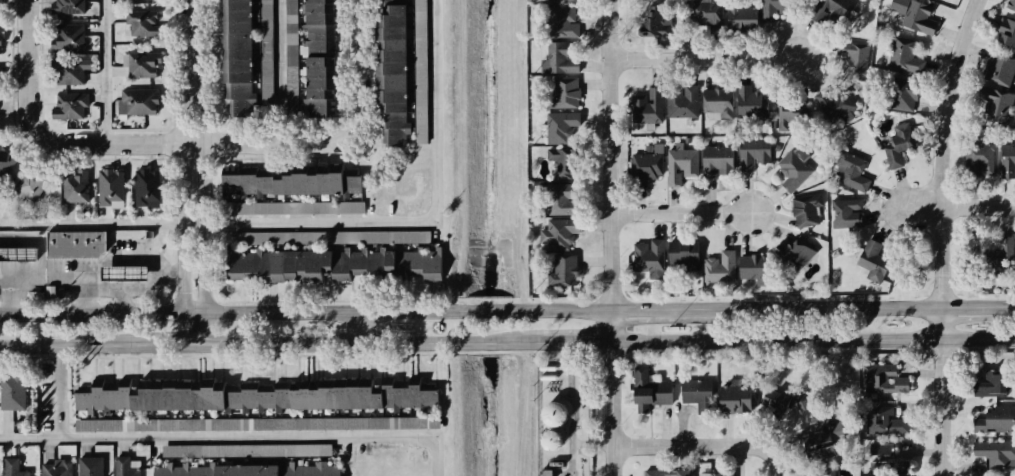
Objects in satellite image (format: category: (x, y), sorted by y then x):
building: (562, 1)
building: (1012, 6)
building: (0, 9)
building: (67, 10)
building: (773, 10)
building: (831, 10)
building: (708, 14)
building: (741, 17)
building: (916, 17)
building: (420, 22)
building: (558, 22)
building: (656, 22)
building: (139, 23)
building: (1002, 31)
building: (68, 38)
road: (193, 42)
building: (0, 44)
building: (266, 53)
building: (317, 56)
building: (853, 56)
building: (906, 56)
road: (705, 57)
building: (236, 58)
building: (557, 61)
building: (139, 62)
building: (997, 68)
building: (68, 70)
road: (102, 72)
building: (390, 72)
road: (277, 73)
building: (0, 80)
building: (899, 91)
building: (563, 93)
road: (34, 98)
building: (680, 99)
building: (138, 100)
building: (714, 102)
building: (835, 103)
building: (991, 103)
building: (749, 104)
building: (68, 105)
building: (644, 106)
building: (788, 116)
building: (561, 129)
road: (296, 145)
building: (894, 149)
building: (1005, 157)
building: (751, 158)
building: (715, 160)
building: (4, 161)
building: (559, 164)
building: (975, 164)
building: (679, 165)
building: (645, 167)
building: (792, 169)
building: (850, 171)
building: (288, 182)
building: (31, 184)
building: (146, 185)
building: (72, 186)
building: (108, 188)
road: (182, 194)
road: (203, 194)
building: (557, 199)
building: (298, 208)
road: (954, 208)
building: (807, 211)
building: (846, 211)
road: (695, 213)
road: (327, 222)
building: (560, 234)
road: (945, 235)
road: (19, 236)
building: (315, 237)
road: (616, 238)
building: (76, 244)
building: (789, 249)
building: (999, 250)
building: (867, 252)
building: (17, 253)
road: (39, 255)
building: (646, 255)
building: (680, 259)
building: (331, 264)
building: (754, 266)
building: (717, 268)
road: (168, 271)
building: (564, 271)
building: (125, 274)
road: (19, 275)
road: (153, 279)
road: (104, 287)
road: (13, 294)
road: (120, 300)
road: (1014, 307)
road: (979, 308)
road: (817, 309)
road: (488, 310)
road: (574, 310)
road: (653, 310)
road: (222, 313)
road: (194, 327)
road: (360, 328)
road: (816, 340)
road: (573, 342)
road: (484, 343)
road: (317, 345)
road: (164, 348)
road: (67, 350)
building: (882, 378)
building: (991, 380)
building: (648, 391)
building: (10, 393)
building: (696, 393)
building: (362, 394)
road: (59, 395)
building: (733, 395)
building: (183, 396)
building: (800, 399)
building: (773, 400)
building: (554, 414)
building: (883, 418)
building: (992, 419)
building: (257, 424)
building: (840, 429)
road: (237, 439)
building: (551, 440)
building: (816, 445)
road: (690, 446)
building: (246, 450)
building: (992, 451)
building: (884, 458)
road: (774, 459)
building: (90, 465)
building: (122, 466)
building: (11, 467)
building: (56, 467)
building: (249, 470)
building: (821, 471)
building: (664, 472)
building: (714, 473)

